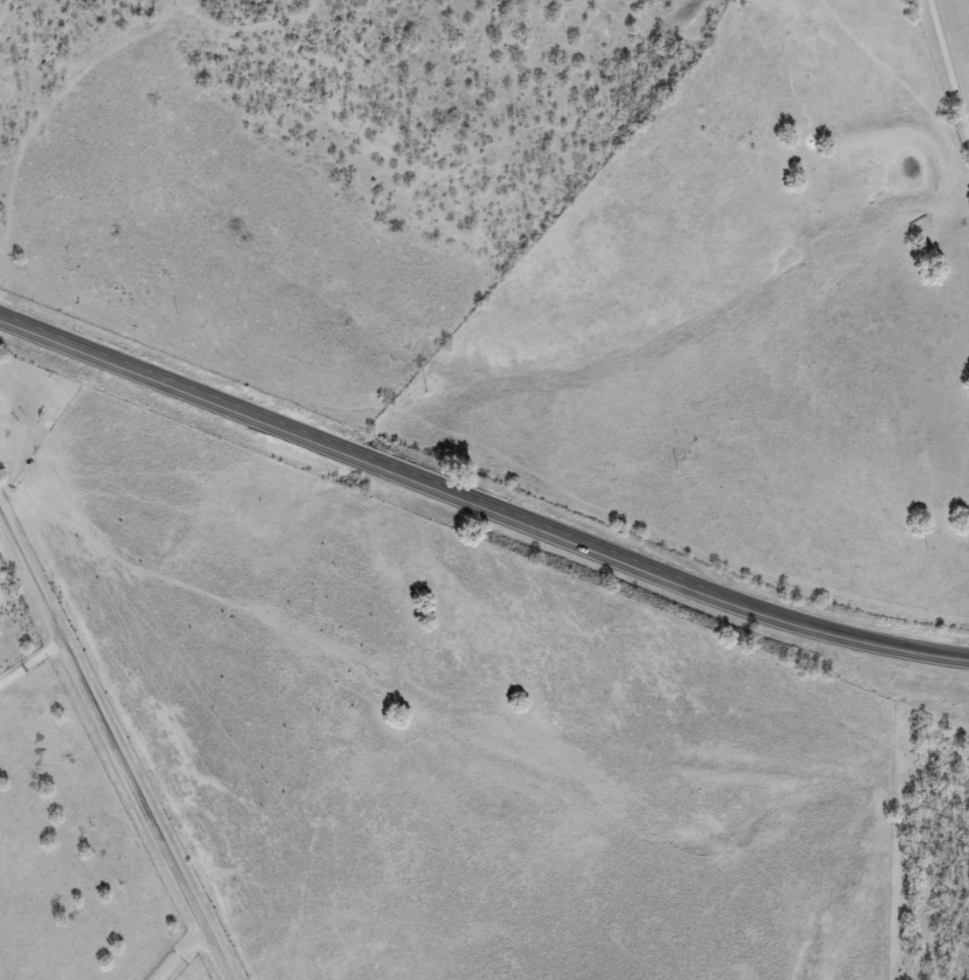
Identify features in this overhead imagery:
road: (951, 77)
road: (966, 163)
road: (479, 509)
road: (121, 745)

